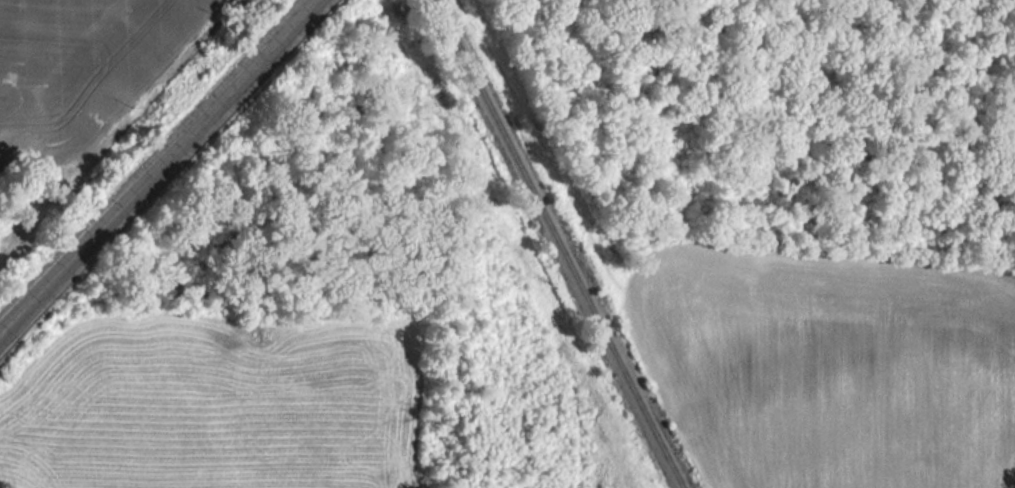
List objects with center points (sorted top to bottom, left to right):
road: (154, 165)
railway: (559, 244)

